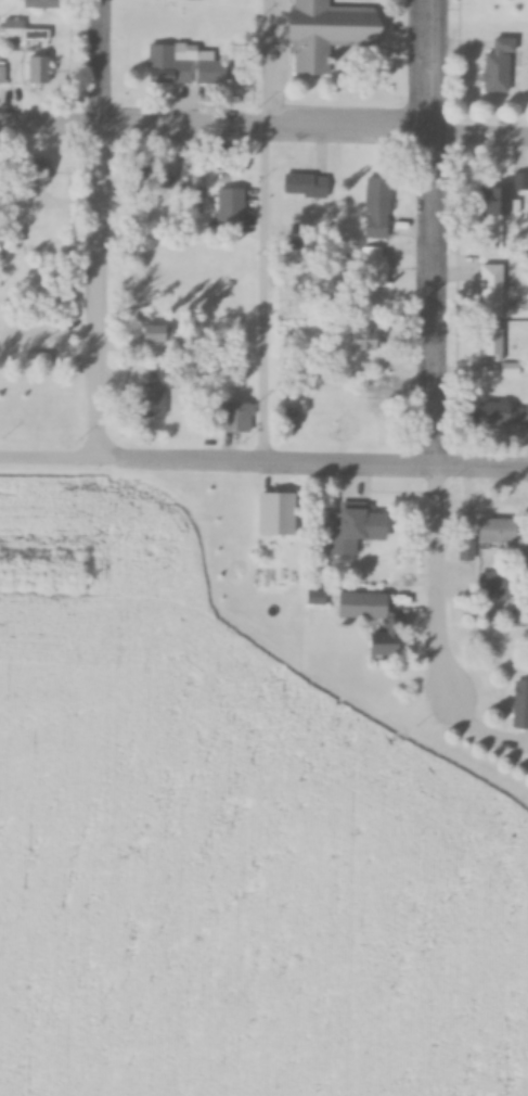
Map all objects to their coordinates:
building: (194, 1)
building: (499, 9)
building: (23, 33)
building: (331, 34)
building: (180, 68)
building: (497, 68)
building: (39, 71)
road: (263, 131)
building: (43, 174)
building: (520, 181)
building: (305, 184)
building: (493, 202)
building: (230, 204)
building: (375, 208)
road: (93, 230)
road: (263, 233)
building: (373, 267)
building: (491, 284)
building: (159, 334)
building: (34, 340)
building: (353, 341)
road: (428, 346)
building: (495, 354)
building: (157, 393)
building: (501, 416)
building: (237, 419)
road: (263, 467)
building: (274, 517)
building: (344, 532)
building: (484, 532)
building: (491, 587)
building: (312, 598)
building: (355, 607)
building: (375, 651)
building: (518, 705)
building: (521, 744)

